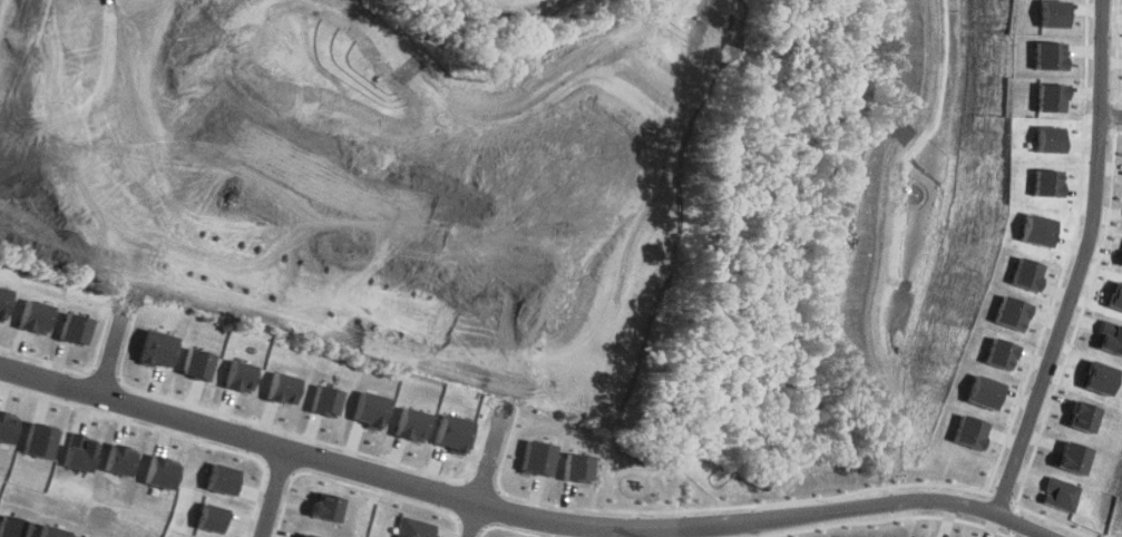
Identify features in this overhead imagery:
building: (1048, 12)
building: (1043, 55)
building: (1046, 97)
road: (1113, 116)
building: (1044, 138)
road: (557, 145)
building: (1044, 182)
road: (251, 207)
building: (1034, 228)
road: (1086, 262)
building: (1022, 272)
road: (130, 290)
building: (1118, 295)
building: (2, 299)
building: (1008, 312)
building: (32, 315)
building: (74, 328)
building: (1111, 335)
building: (156, 348)
building: (997, 352)
building: (196, 363)
building: (240, 375)
building: (1104, 377)
building: (282, 388)
building: (982, 391)
building: (325, 400)
building: (369, 409)
road: (501, 413)
building: (1087, 416)
building: (411, 423)
building: (6, 426)
building: (967, 431)
building: (452, 432)
building: (38, 440)
building: (78, 451)
building: (537, 456)
building: (1077, 457)
building: (117, 459)
building: (576, 467)
building: (158, 471)
building: (222, 478)
building: (1064, 492)
road: (273, 494)
building: (323, 506)
building: (211, 517)
road: (527, 519)
building: (13, 526)
building: (413, 527)
building: (53, 531)
building: (308, 535)
building: (86, 536)
building: (919, 536)

